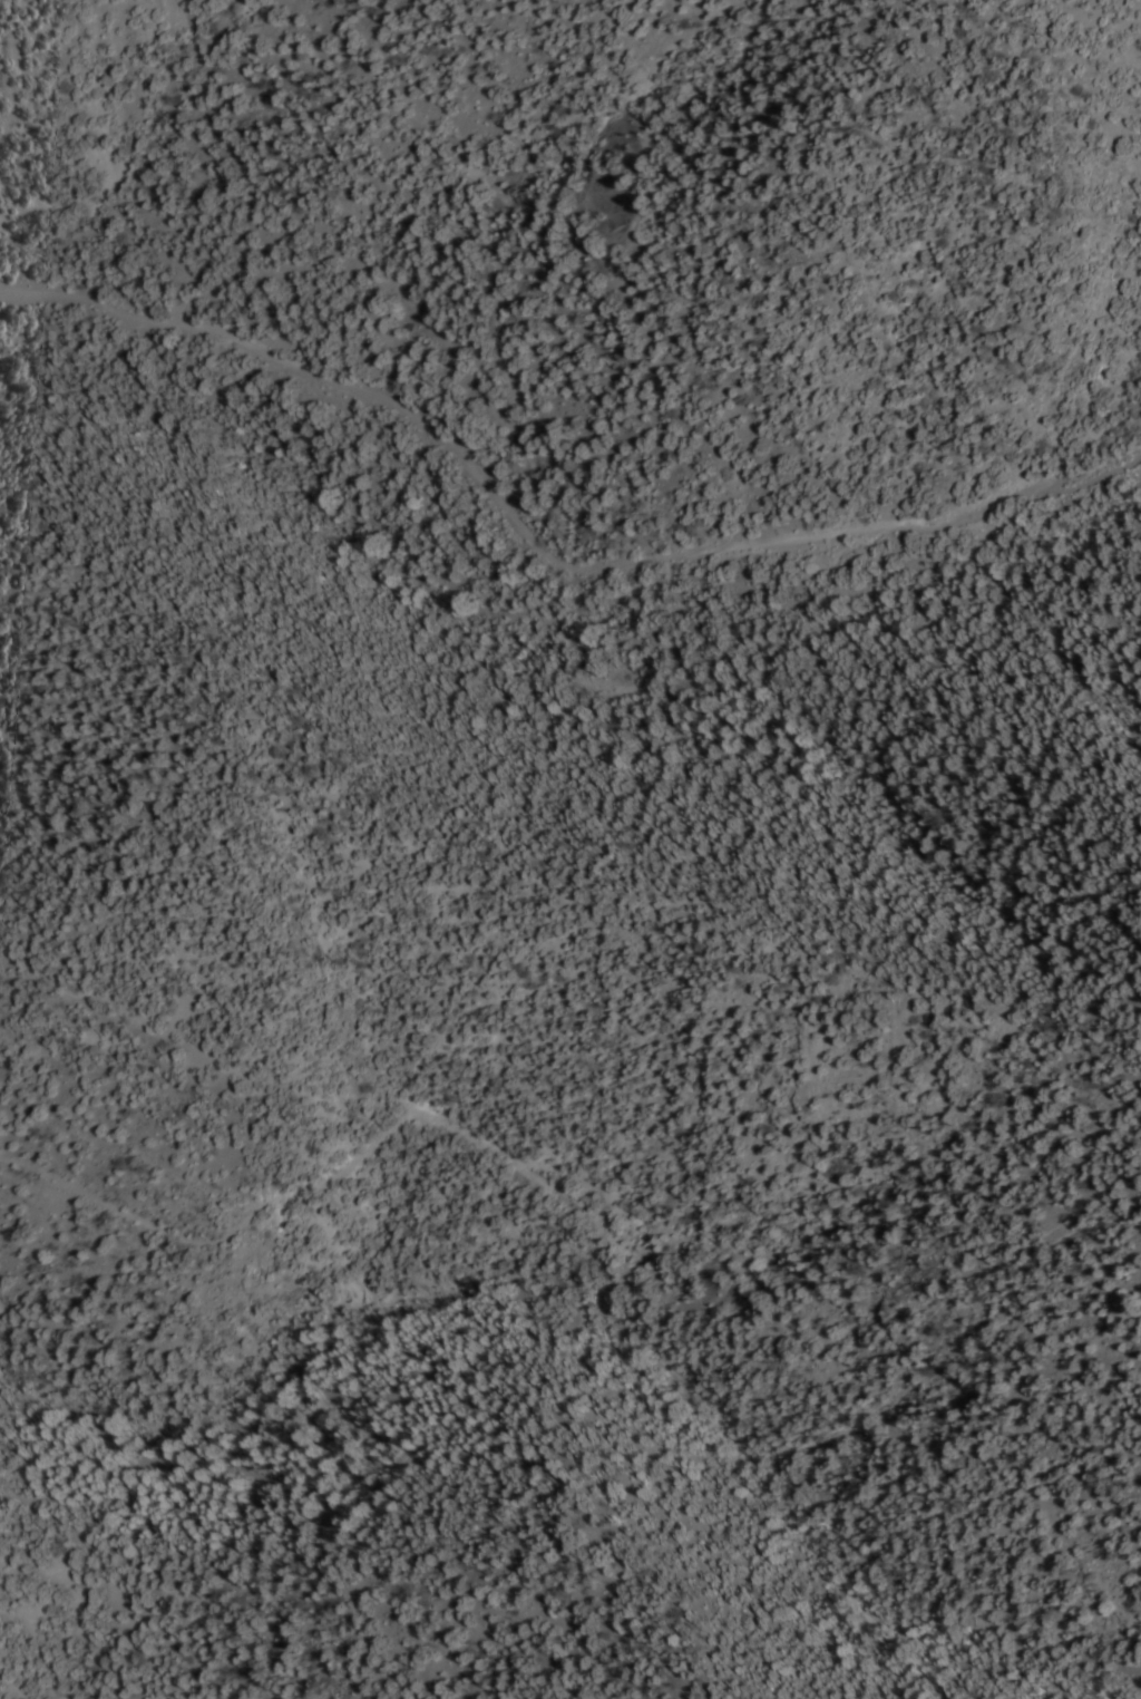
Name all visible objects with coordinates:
mineshaft: (670, 122)
mineshaft: (728, 192)
road: (543, 545)
road: (332, 1177)

